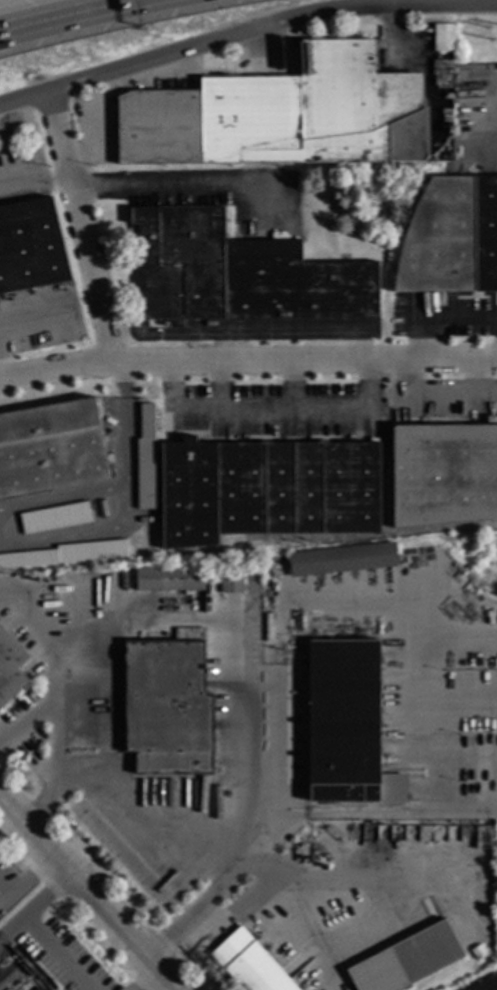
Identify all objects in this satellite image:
road: (66, 15)
road: (244, 30)
building: (442, 37)
building: (442, 87)
building: (282, 115)
road: (35, 182)
road: (179, 190)
road: (81, 222)
building: (451, 237)
building: (30, 246)
building: (239, 273)
road: (447, 322)
building: (290, 329)
road: (240, 334)
road: (247, 356)
road: (471, 376)
road: (216, 382)
road: (292, 382)
road: (434, 395)
road: (270, 409)
building: (491, 420)
building: (51, 448)
building: (145, 456)
building: (443, 474)
building: (266, 489)
road: (61, 497)
road: (124, 503)
building: (54, 518)
building: (102, 550)
building: (342, 559)
building: (169, 578)
building: (230, 578)
road: (345, 599)
building: (343, 629)
building: (188, 633)
building: (10, 667)
road: (51, 669)
building: (166, 707)
building: (347, 723)
road: (53, 766)
road: (382, 810)
building: (482, 837)
road: (184, 849)
road: (244, 850)
road: (265, 859)
road: (29, 878)
road: (88, 896)
road: (3, 898)
road: (240, 905)
road: (32, 932)
building: (477, 951)
building: (406, 959)
building: (249, 964)
road: (144, 978)
building: (486, 984)

